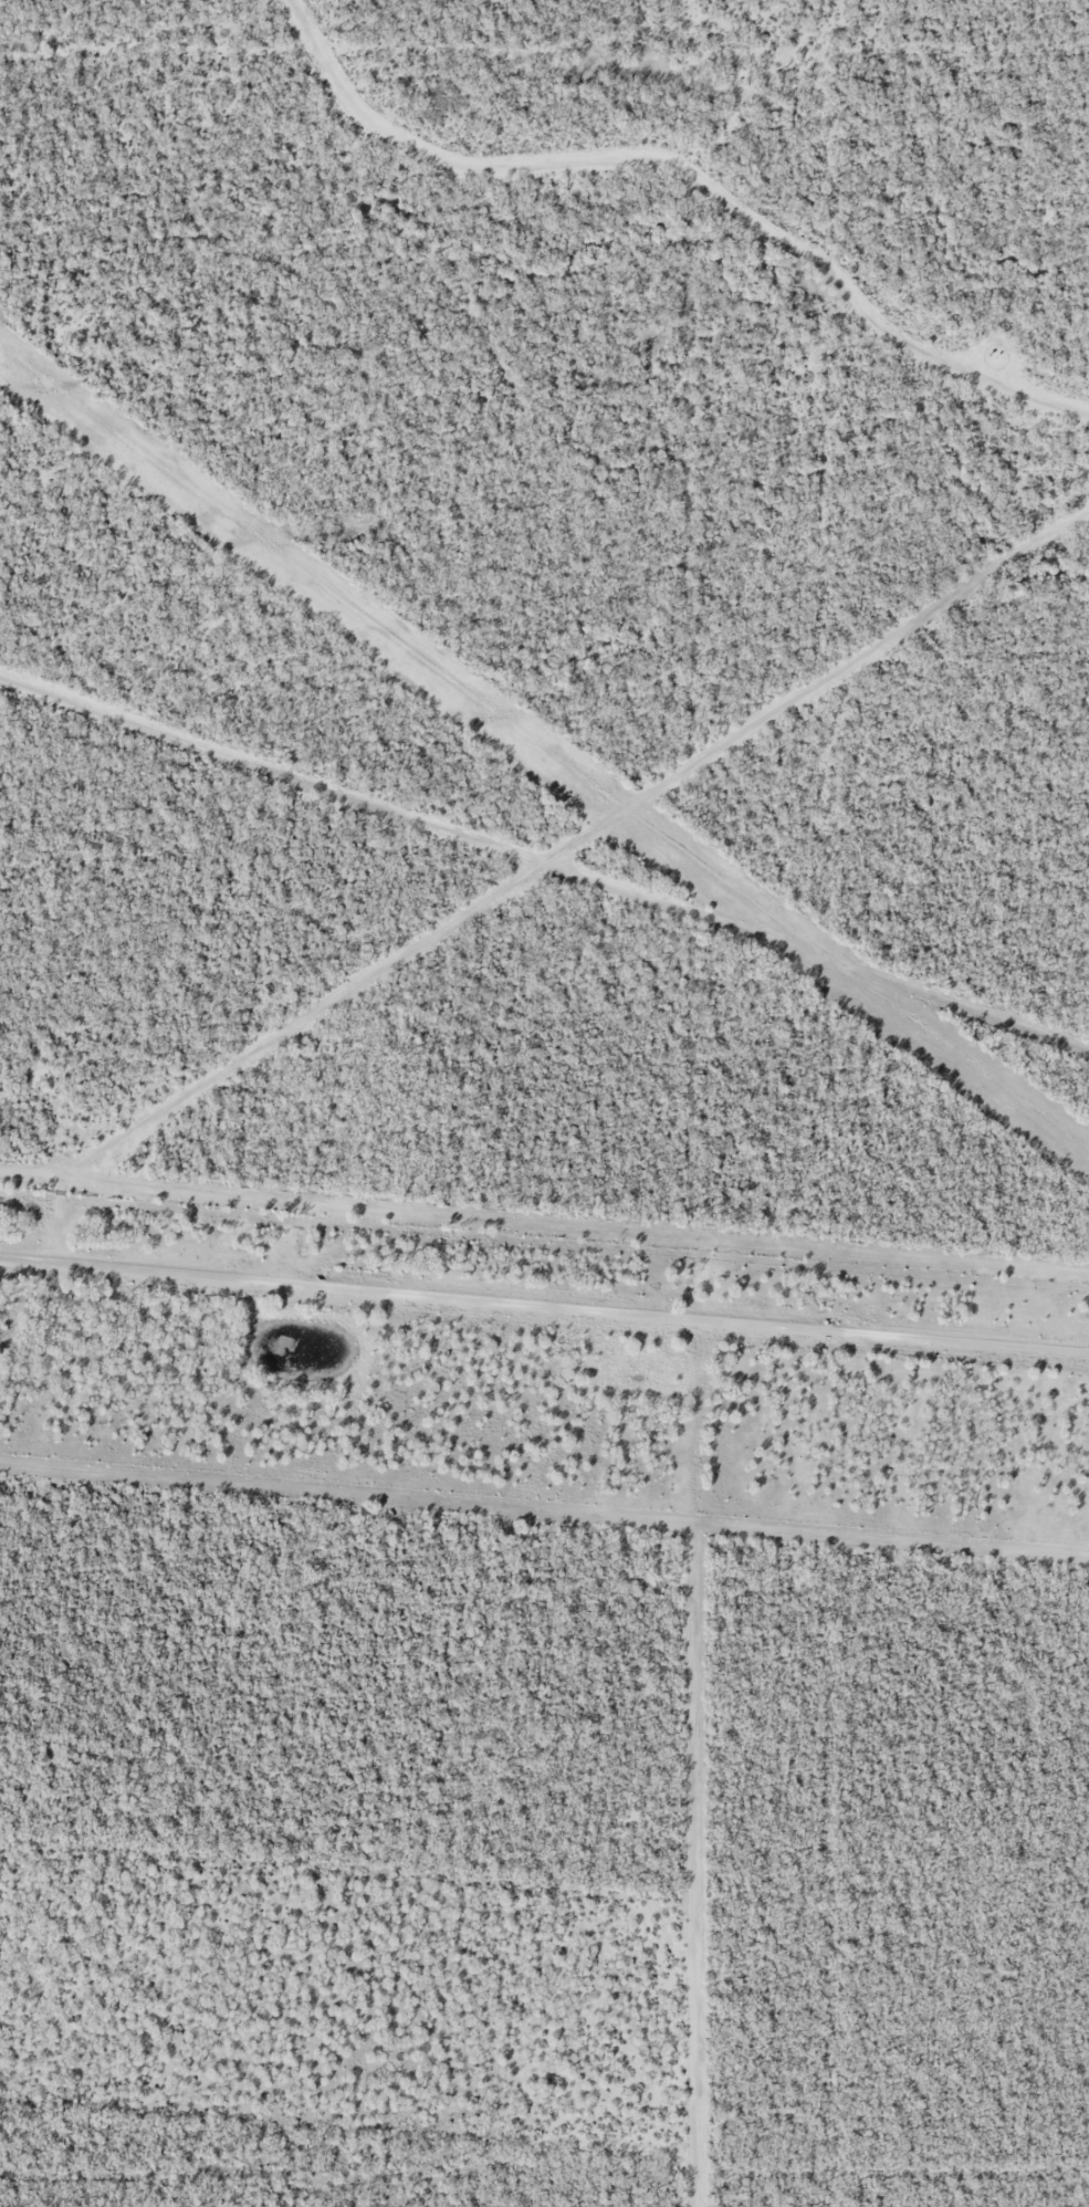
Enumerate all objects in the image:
road: (544, 1304)

